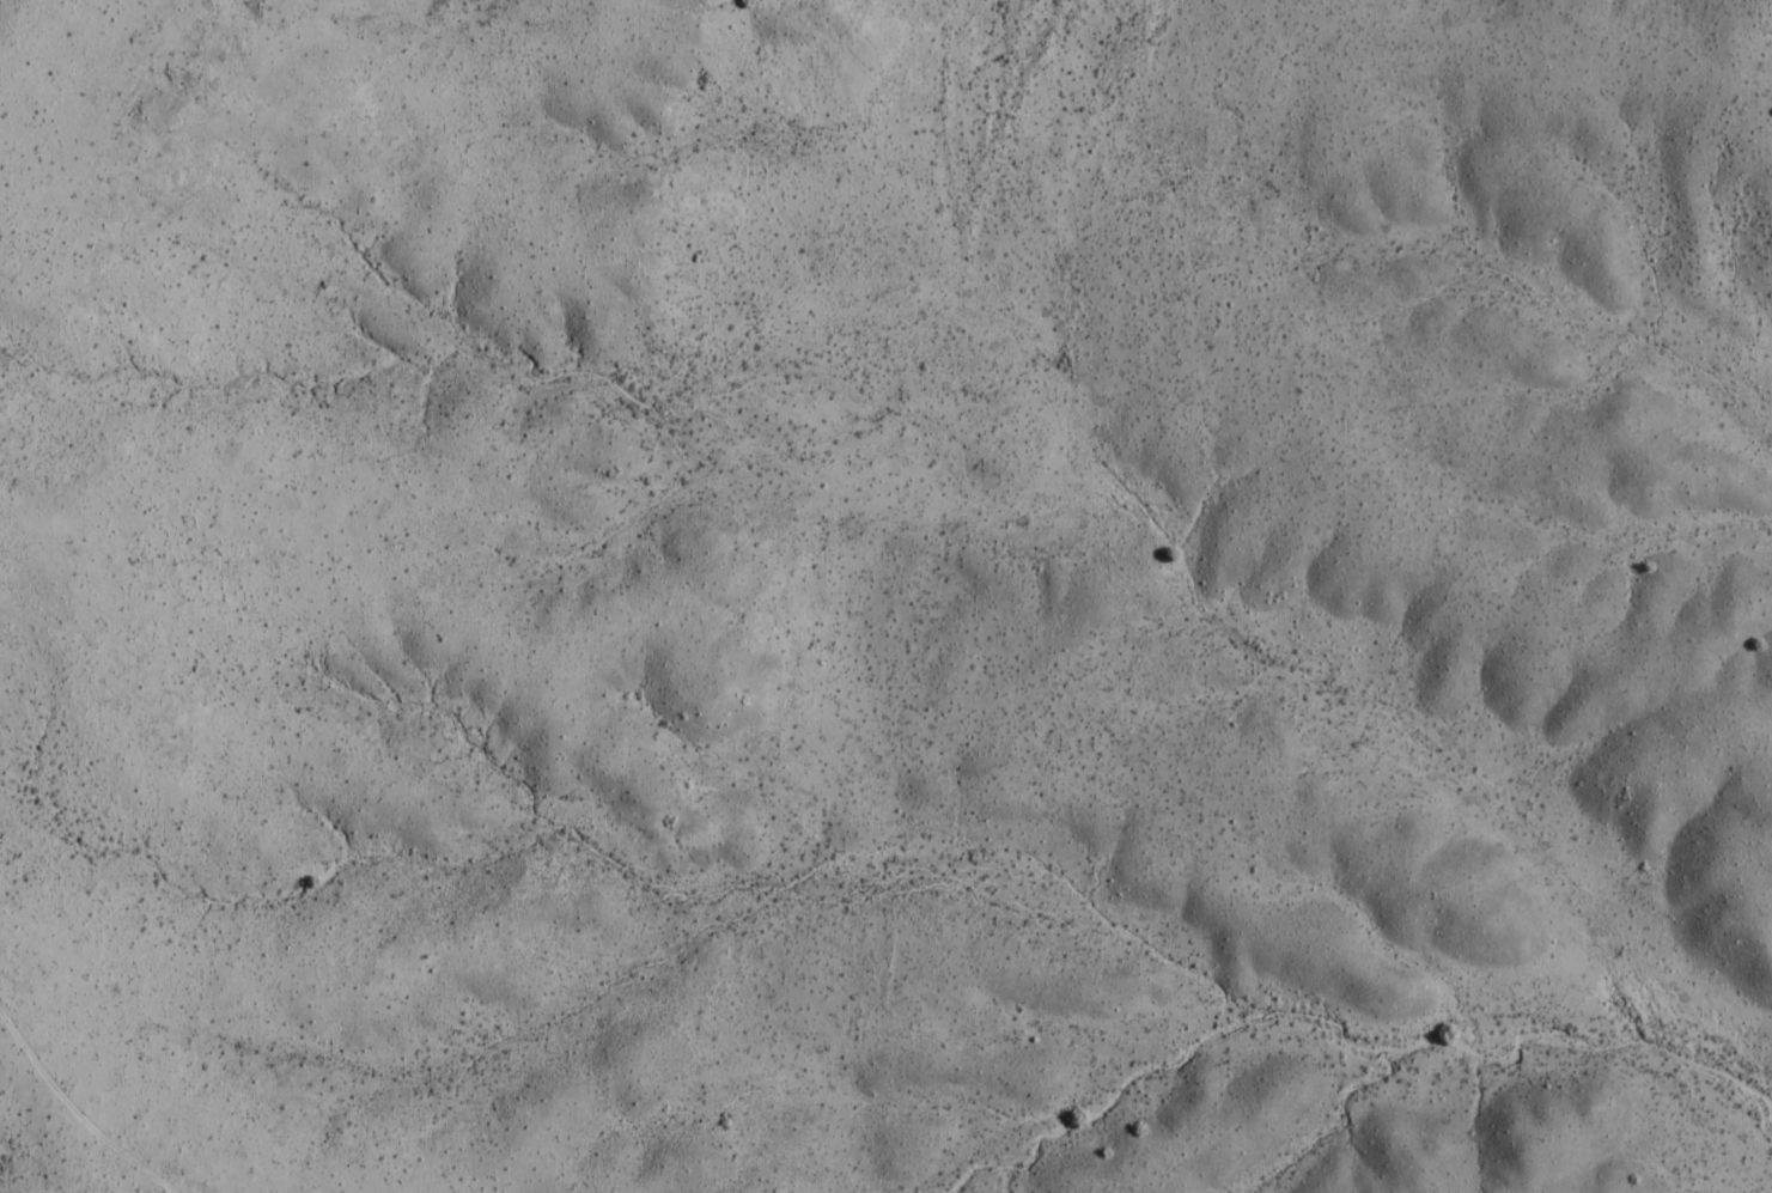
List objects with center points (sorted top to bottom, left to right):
road: (73, 1114)

